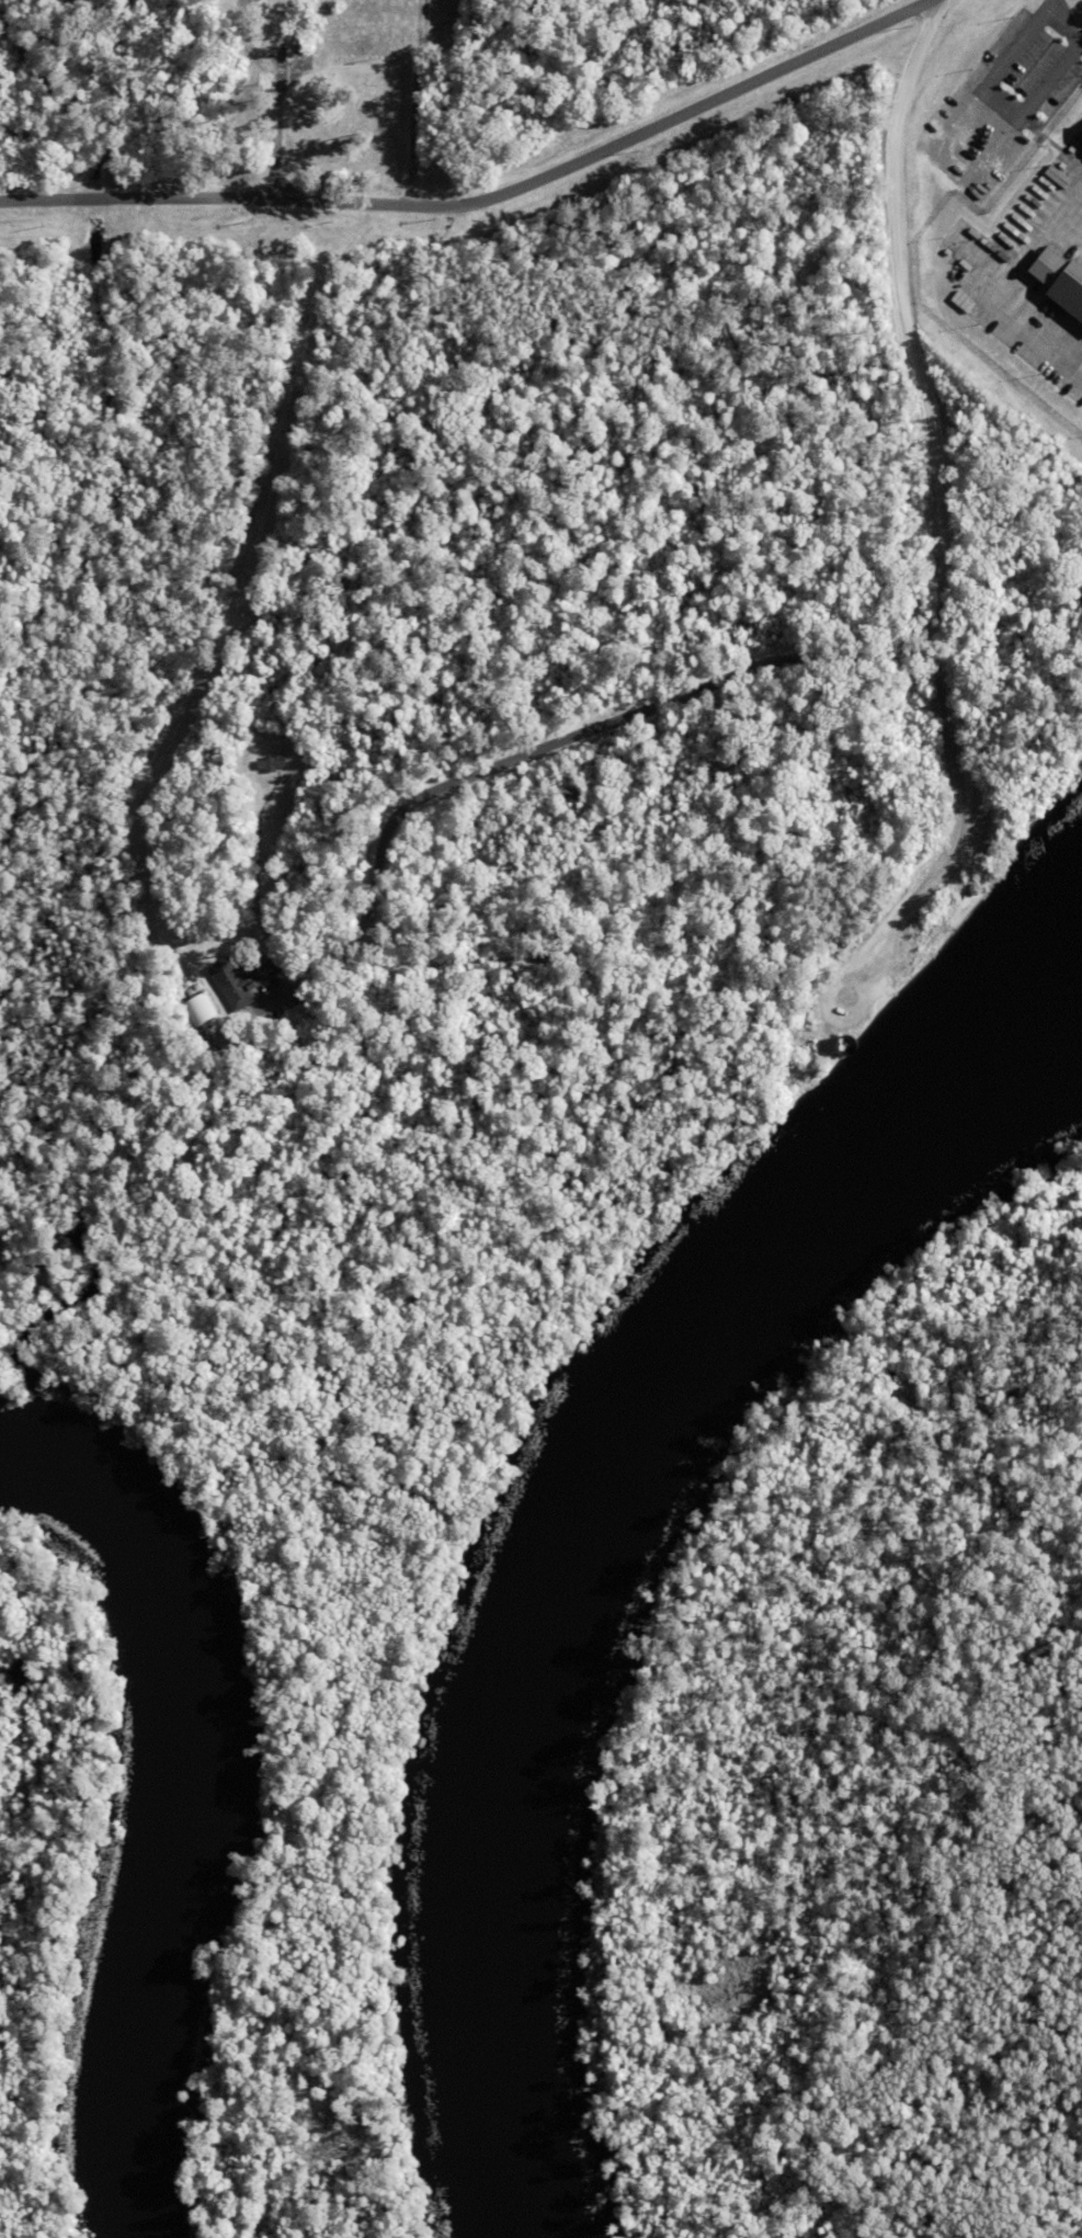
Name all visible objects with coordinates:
road: (1055, 7)
road: (1046, 20)
road: (413, 103)
parking lot: (1001, 106)
building: (1080, 138)
road: (483, 198)
building: (1066, 294)
road: (933, 509)
building: (272, 764)
building: (244, 979)
building: (203, 1008)
building: (236, 1021)
building: (241, 1027)
road: (220, 1034)
building: (253, 1040)
river: (194, 1797)

